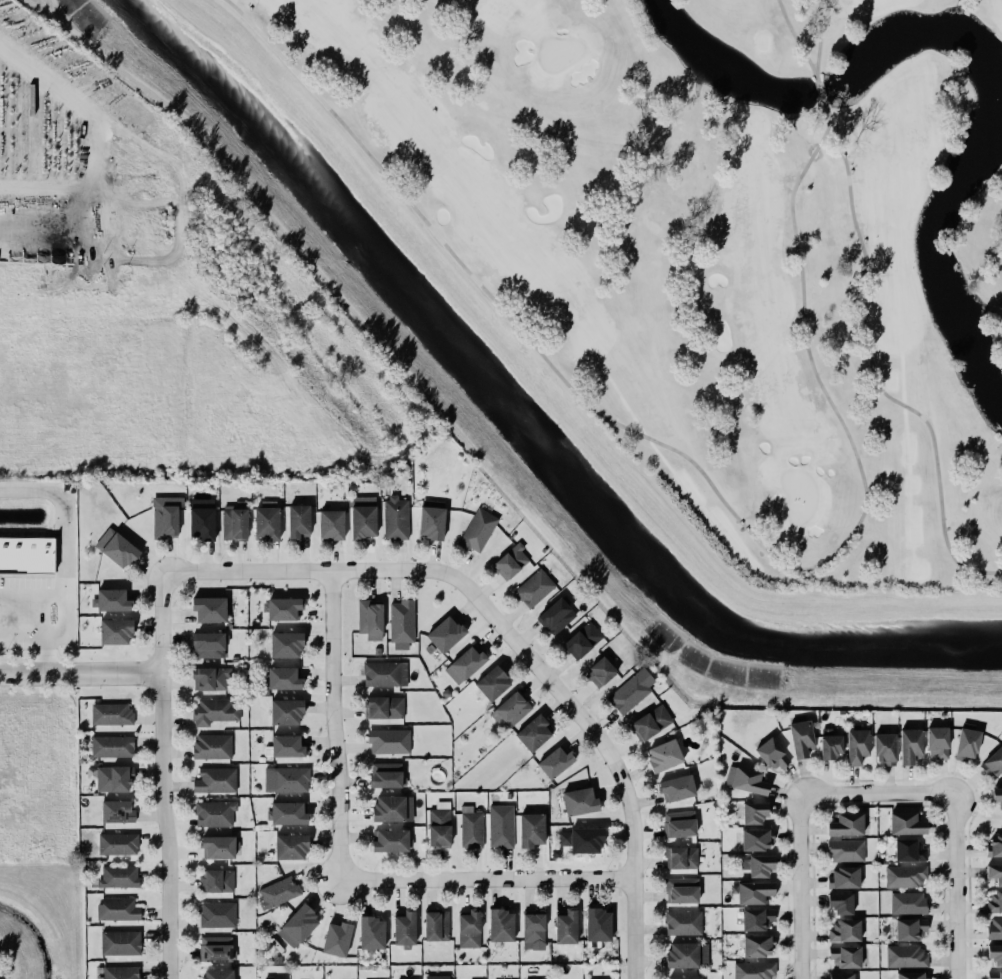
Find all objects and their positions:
road: (92, 179)
road: (187, 197)
park: (712, 242)
park: (720, 245)
building: (165, 516)
building: (363, 516)
building: (201, 518)
building: (395, 518)
building: (431, 519)
building: (266, 520)
building: (298, 520)
building: (234, 521)
building: (331, 524)
building: (477, 530)
road: (65, 538)
building: (116, 548)
building: (26, 554)
building: (510, 561)
building: (534, 588)
road: (32, 594)
building: (111, 600)
building: (282, 608)
building: (208, 609)
building: (555, 616)
building: (369, 619)
building: (401, 624)
road: (44, 631)
building: (115, 631)
building: (444, 633)
road: (514, 639)
building: (581, 640)
building: (285, 644)
building: (207, 645)
building: (464, 664)
building: (600, 670)
road: (81, 673)
building: (384, 673)
building: (210, 678)
building: (282, 678)
building: (492, 683)
building: (628, 694)
building: (384, 707)
building: (510, 709)
building: (214, 710)
building: (285, 711)
building: (110, 714)
building: (651, 722)
road: (339, 725)
building: (533, 733)
building: (801, 738)
building: (388, 741)
building: (937, 741)
building: (967, 742)
building: (829, 745)
building: (856, 745)
building: (910, 745)
building: (112, 746)
building: (212, 746)
building: (286, 746)
building: (884, 748)
building: (664, 754)
building: (772, 754)
building: (554, 761)
building: (993, 762)
building: (385, 774)
road: (163, 777)
building: (113, 778)
building: (286, 779)
building: (215, 780)
building: (745, 780)
building: (676, 788)
road: (876, 792)
building: (997, 796)
building: (579, 801)
building: (389, 808)
building: (116, 811)
building: (754, 812)
building: (214, 813)
building: (287, 813)
building: (679, 823)
building: (906, 823)
building: (439, 824)
building: (845, 824)
building: (500, 825)
building: (470, 827)
building: (530, 829)
building: (581, 839)
building: (756, 839)
building: (389, 840)
building: (117, 843)
building: (217, 846)
building: (290, 846)
building: (994, 846)
building: (844, 850)
building: (909, 850)
building: (681, 858)
building: (758, 865)
building: (118, 876)
building: (905, 876)
building: (844, 877)
road: (489, 879)
building: (216, 880)
road: (956, 885)
road: (800, 886)
building: (681, 890)
building: (277, 891)
building: (753, 891)
building: (994, 901)
building: (840, 902)
building: (907, 902)
building: (118, 909)
building: (217, 914)
building: (756, 918)
building: (684, 922)
building: (501, 924)
building: (598, 924)
building: (436, 925)
building: (297, 926)
building: (565, 927)
building: (404, 928)
building: (909, 928)
building: (469, 929)
building: (533, 929)
building: (844, 930)
building: (371, 933)
building: (336, 938)
building: (120, 942)
building: (757, 945)
building: (215, 948)
building: (995, 953)
building: (682, 955)
building: (845, 956)
building: (905, 956)
building: (753, 969)
building: (120, 972)
building: (216, 973)
building: (994, 974)
building: (841, 975)
building: (910, 975)
building: (436, 977)
building: (682, 977)

